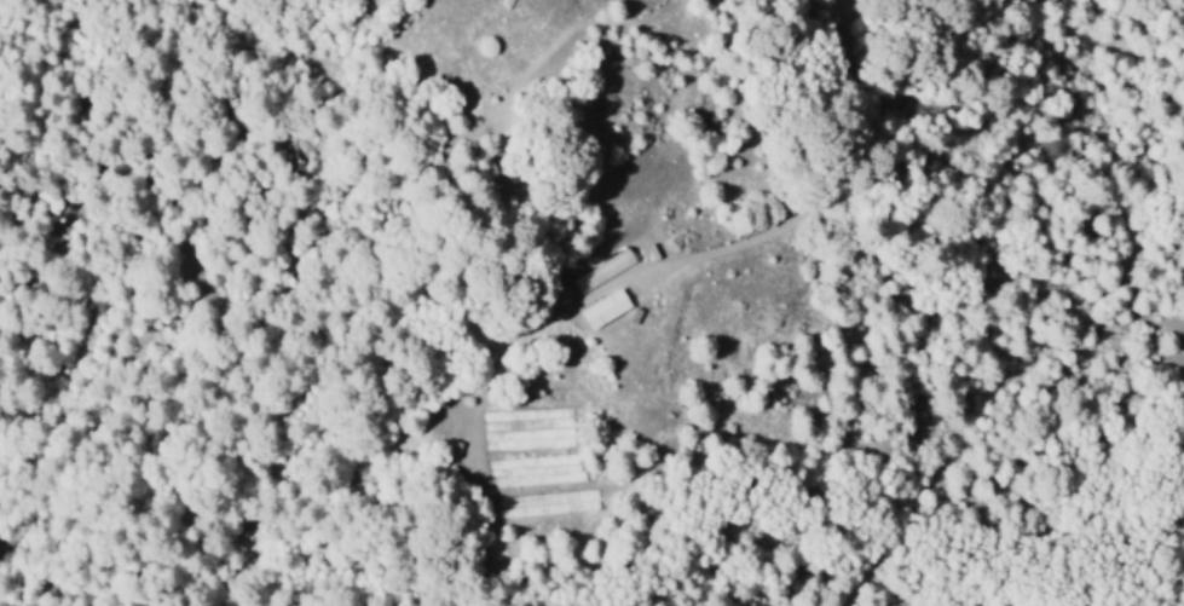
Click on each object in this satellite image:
building: (605, 310)

